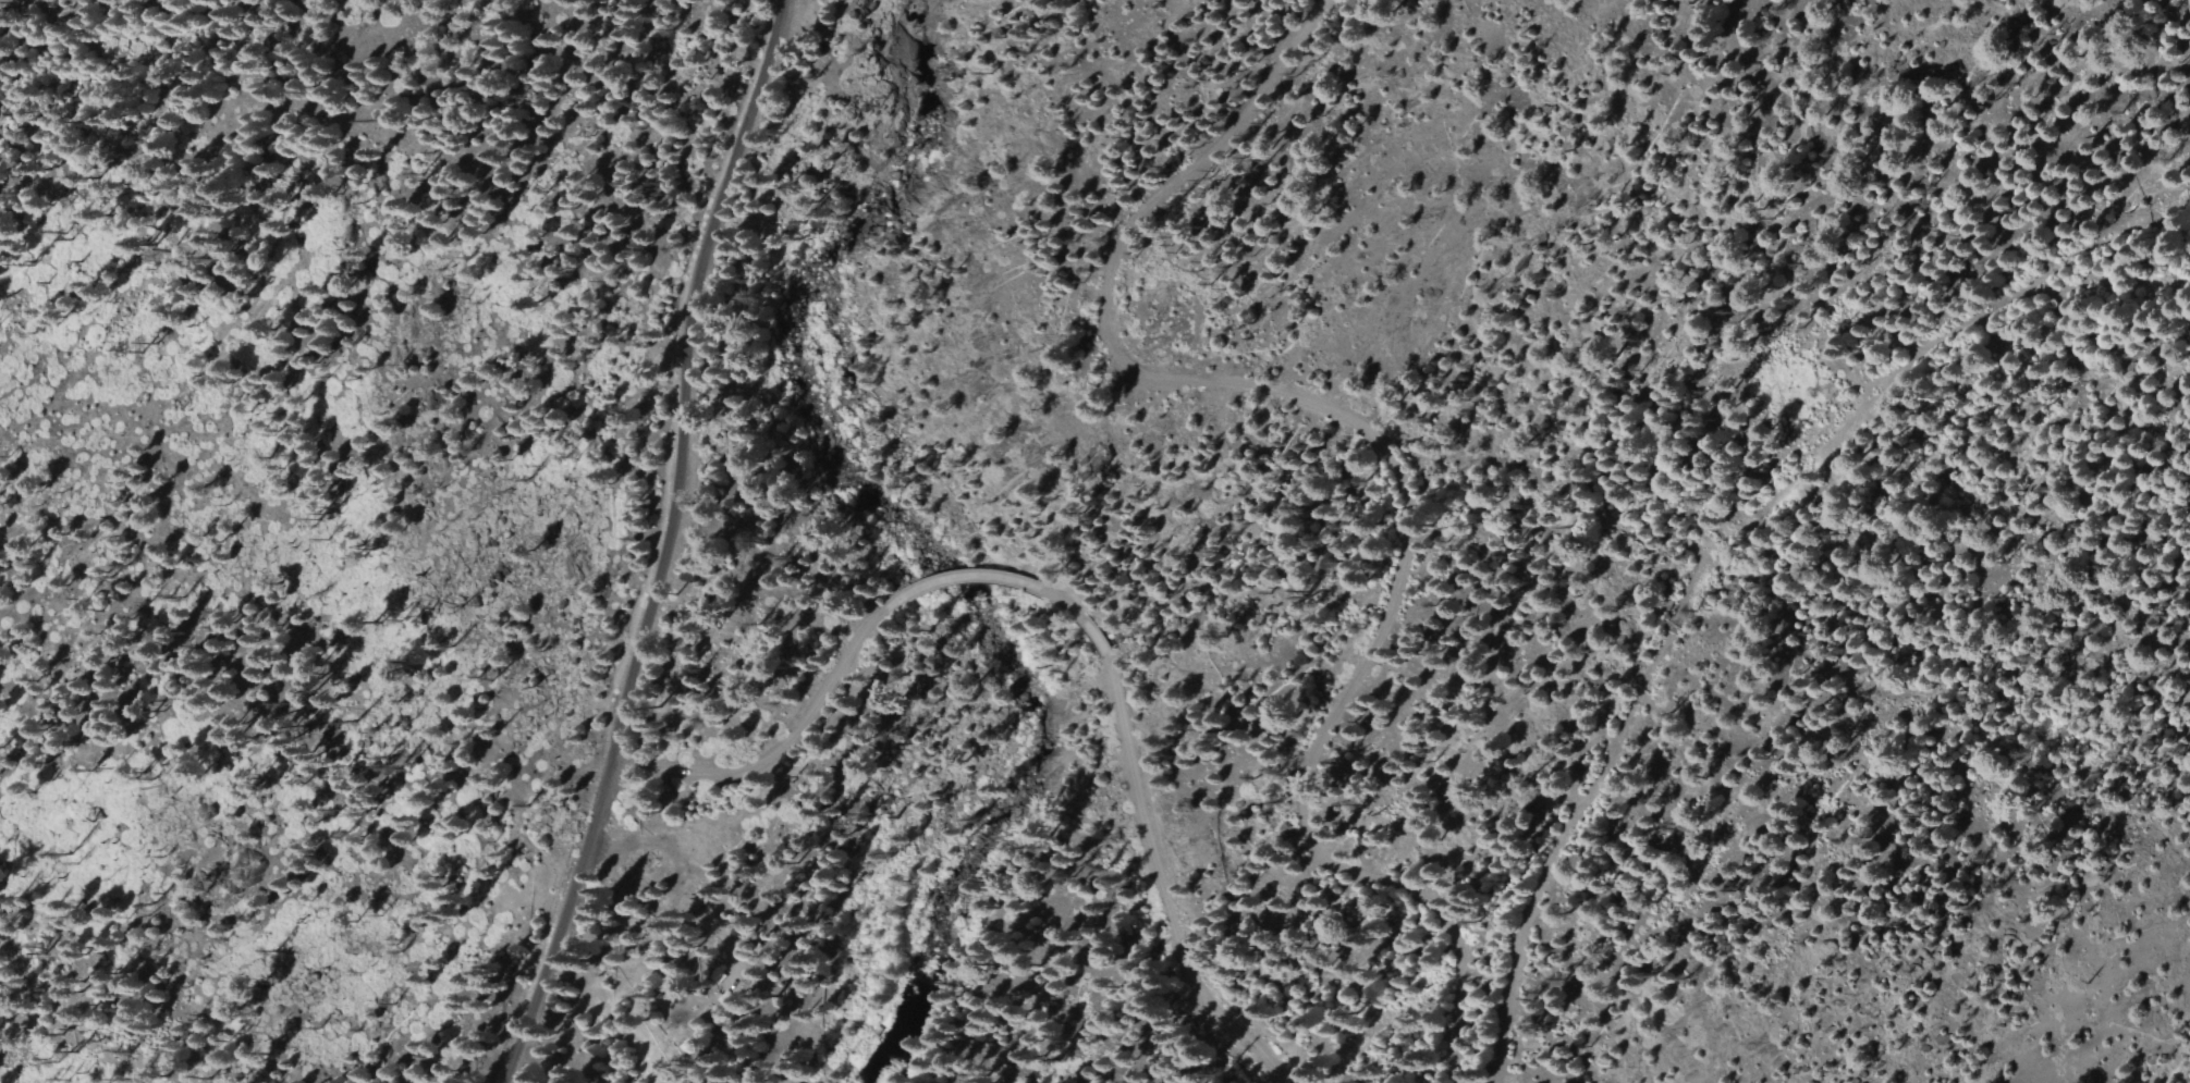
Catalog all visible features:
road: (683, 377)
road: (1379, 413)
road: (1740, 575)
road: (794, 727)
road: (1134, 782)
road: (561, 923)

